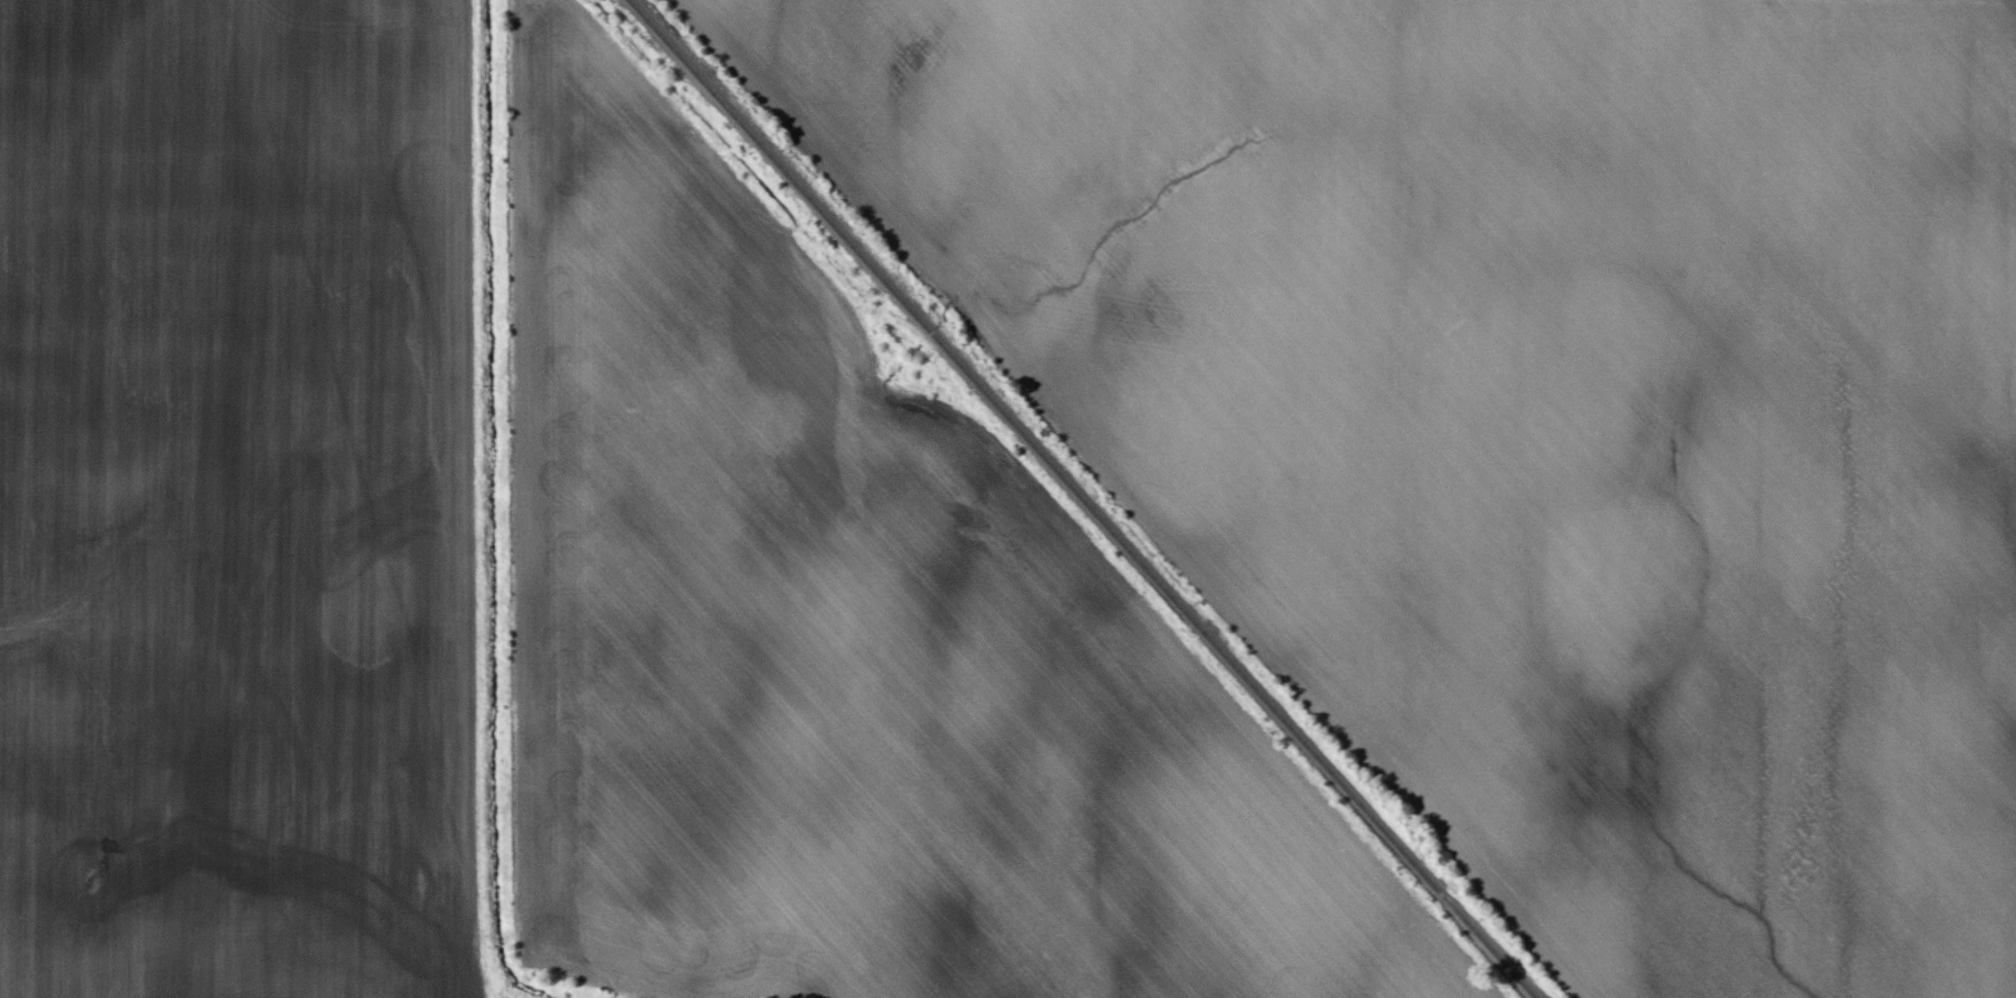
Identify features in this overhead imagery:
railway: (1086, 497)

